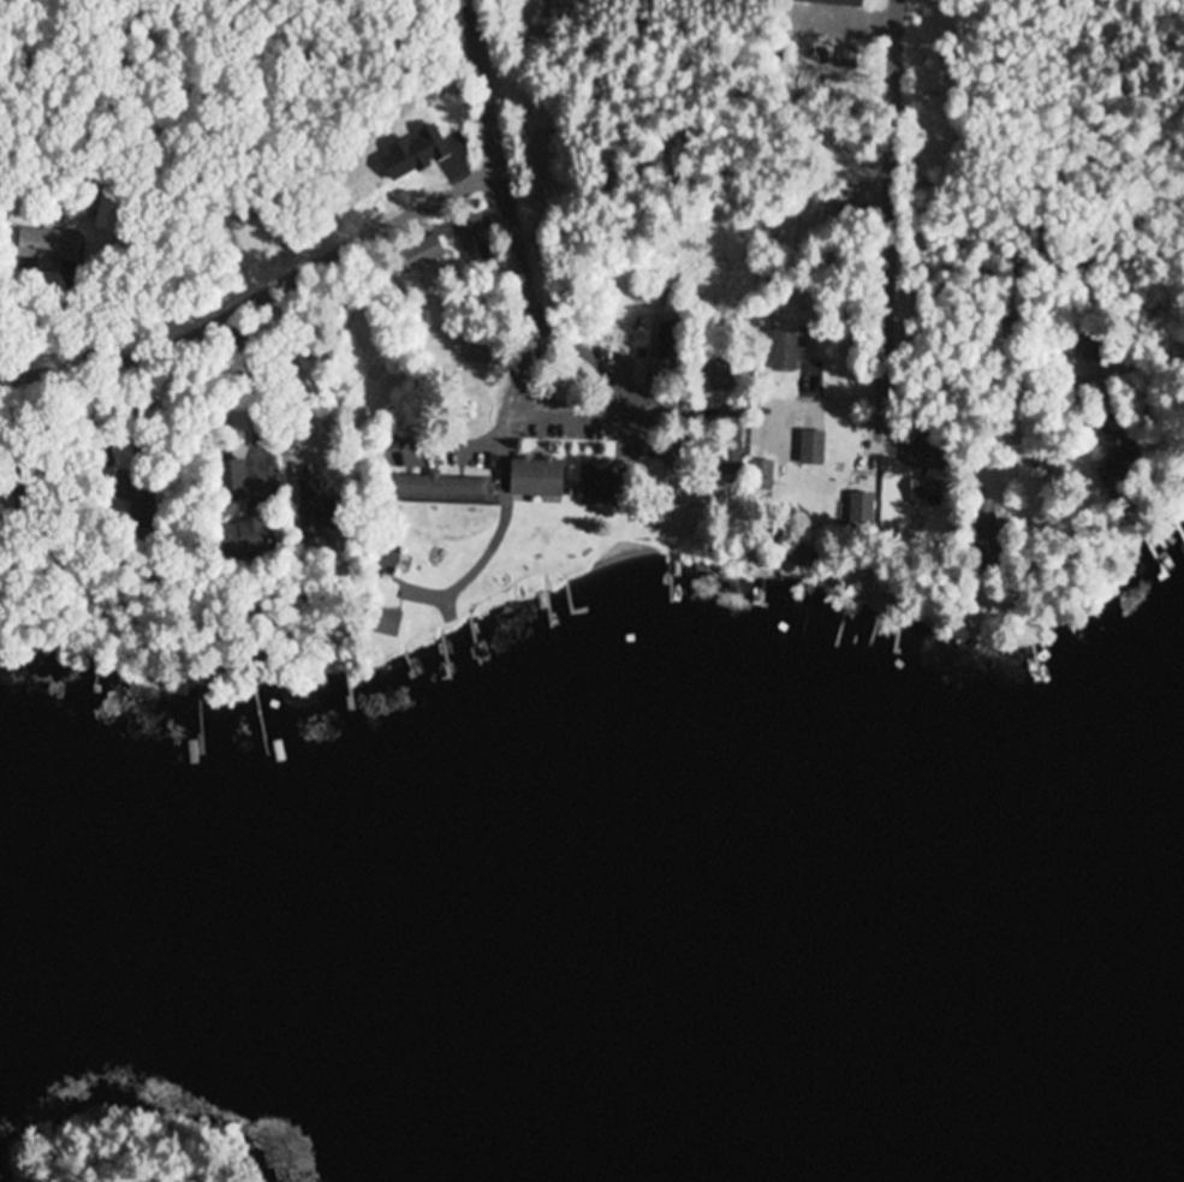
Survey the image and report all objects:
building: (834, 2)
road: (481, 81)
road: (890, 150)
building: (109, 215)
building: (474, 233)
building: (49, 249)
building: (427, 250)
road: (262, 303)
road: (862, 307)
building: (670, 344)
building: (1094, 349)
building: (471, 351)
building: (785, 352)
building: (721, 376)
road: (647, 427)
building: (732, 450)
building: (811, 451)
building: (1120, 453)
road: (976, 465)
building: (537, 477)
building: (762, 477)
building: (231, 481)
building: (601, 481)
building: (436, 489)
building: (130, 491)
building: (926, 494)
building: (315, 510)
building: (246, 536)
building: (387, 623)

